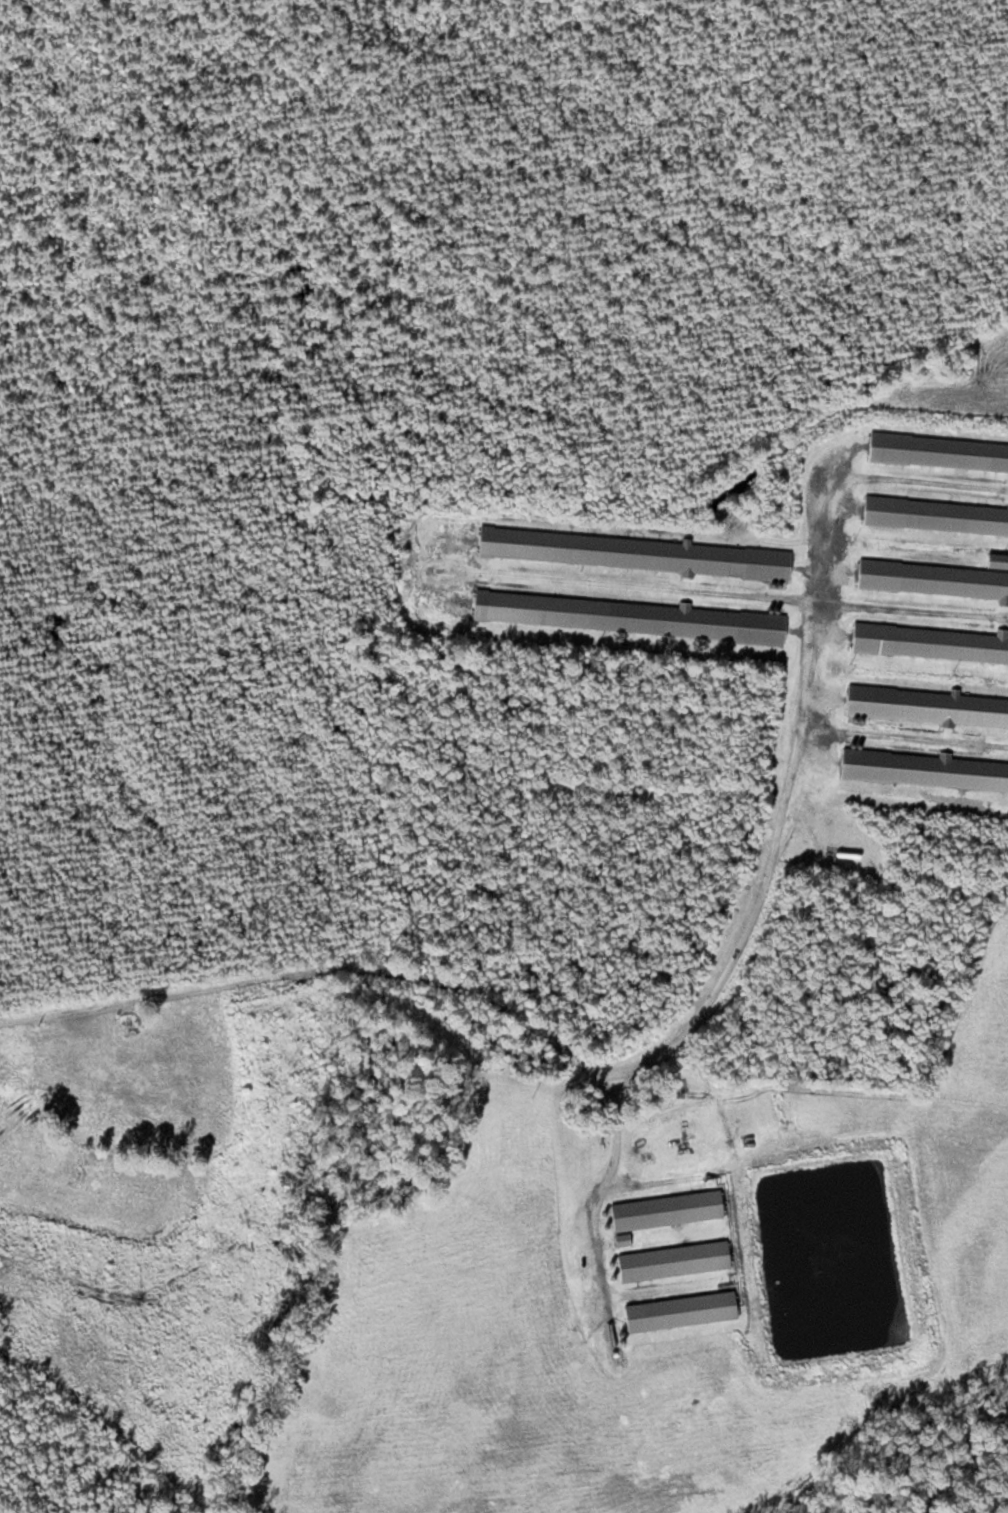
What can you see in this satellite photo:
building: (939, 451)
building: (936, 515)
building: (640, 552)
building: (938, 576)
building: (629, 615)
building: (931, 642)
building: (927, 705)
building: (923, 769)
building: (130, 1021)
building: (669, 1209)
building: (675, 1260)
building: (682, 1310)

